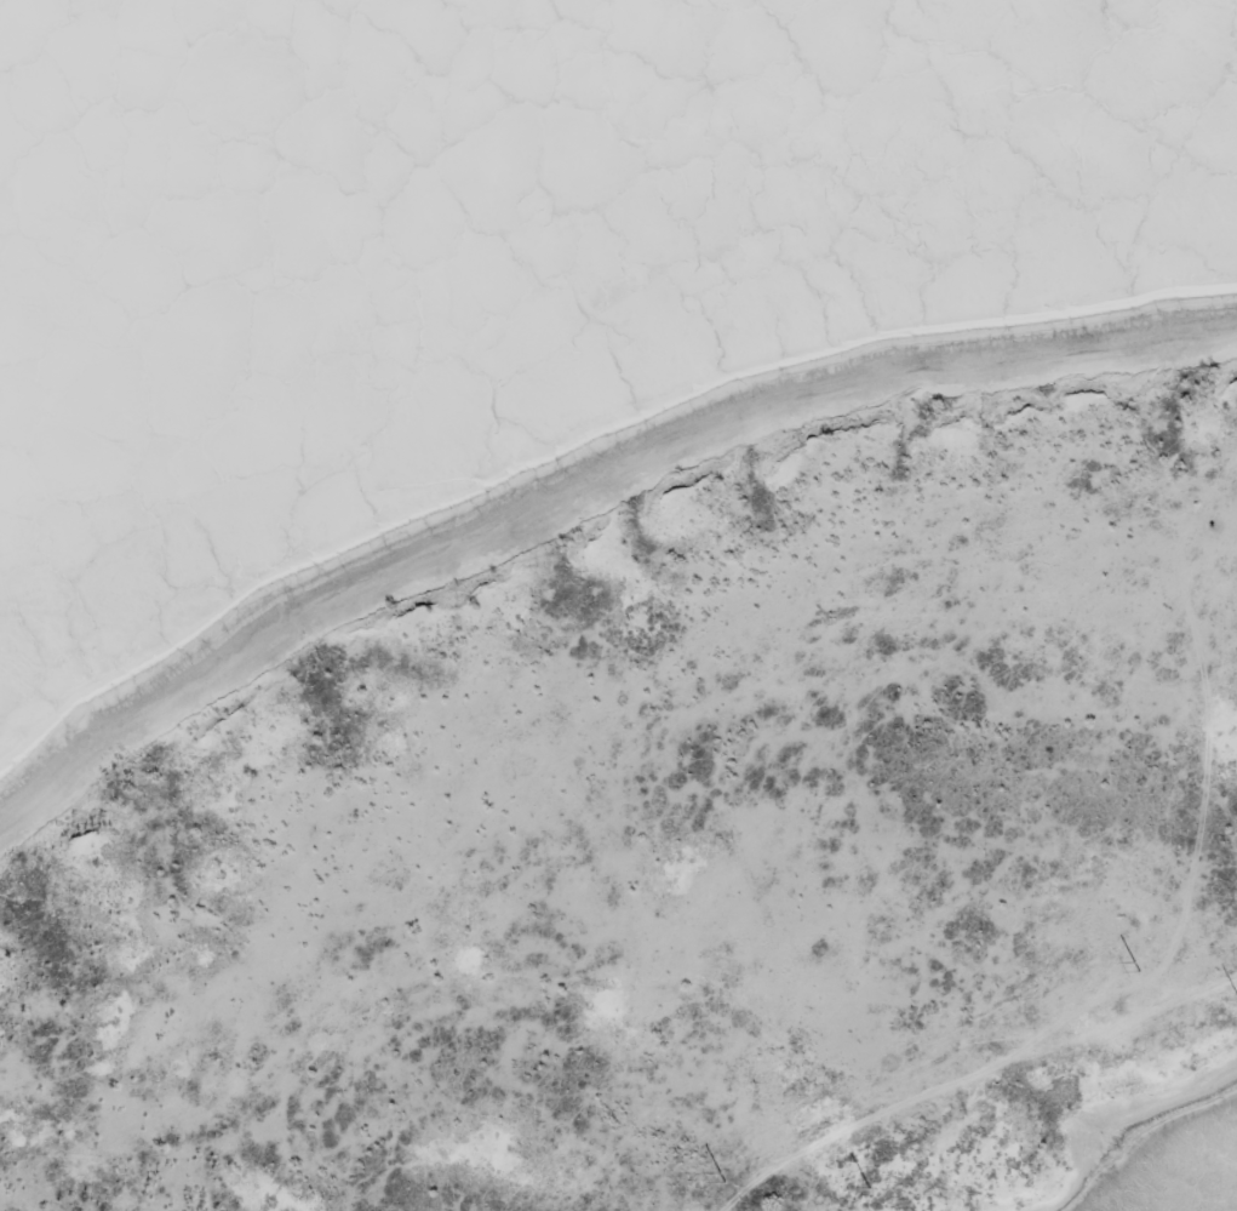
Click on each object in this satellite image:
power tower: (1152, 949)
power tower: (701, 1187)
power tower: (869, 1187)

